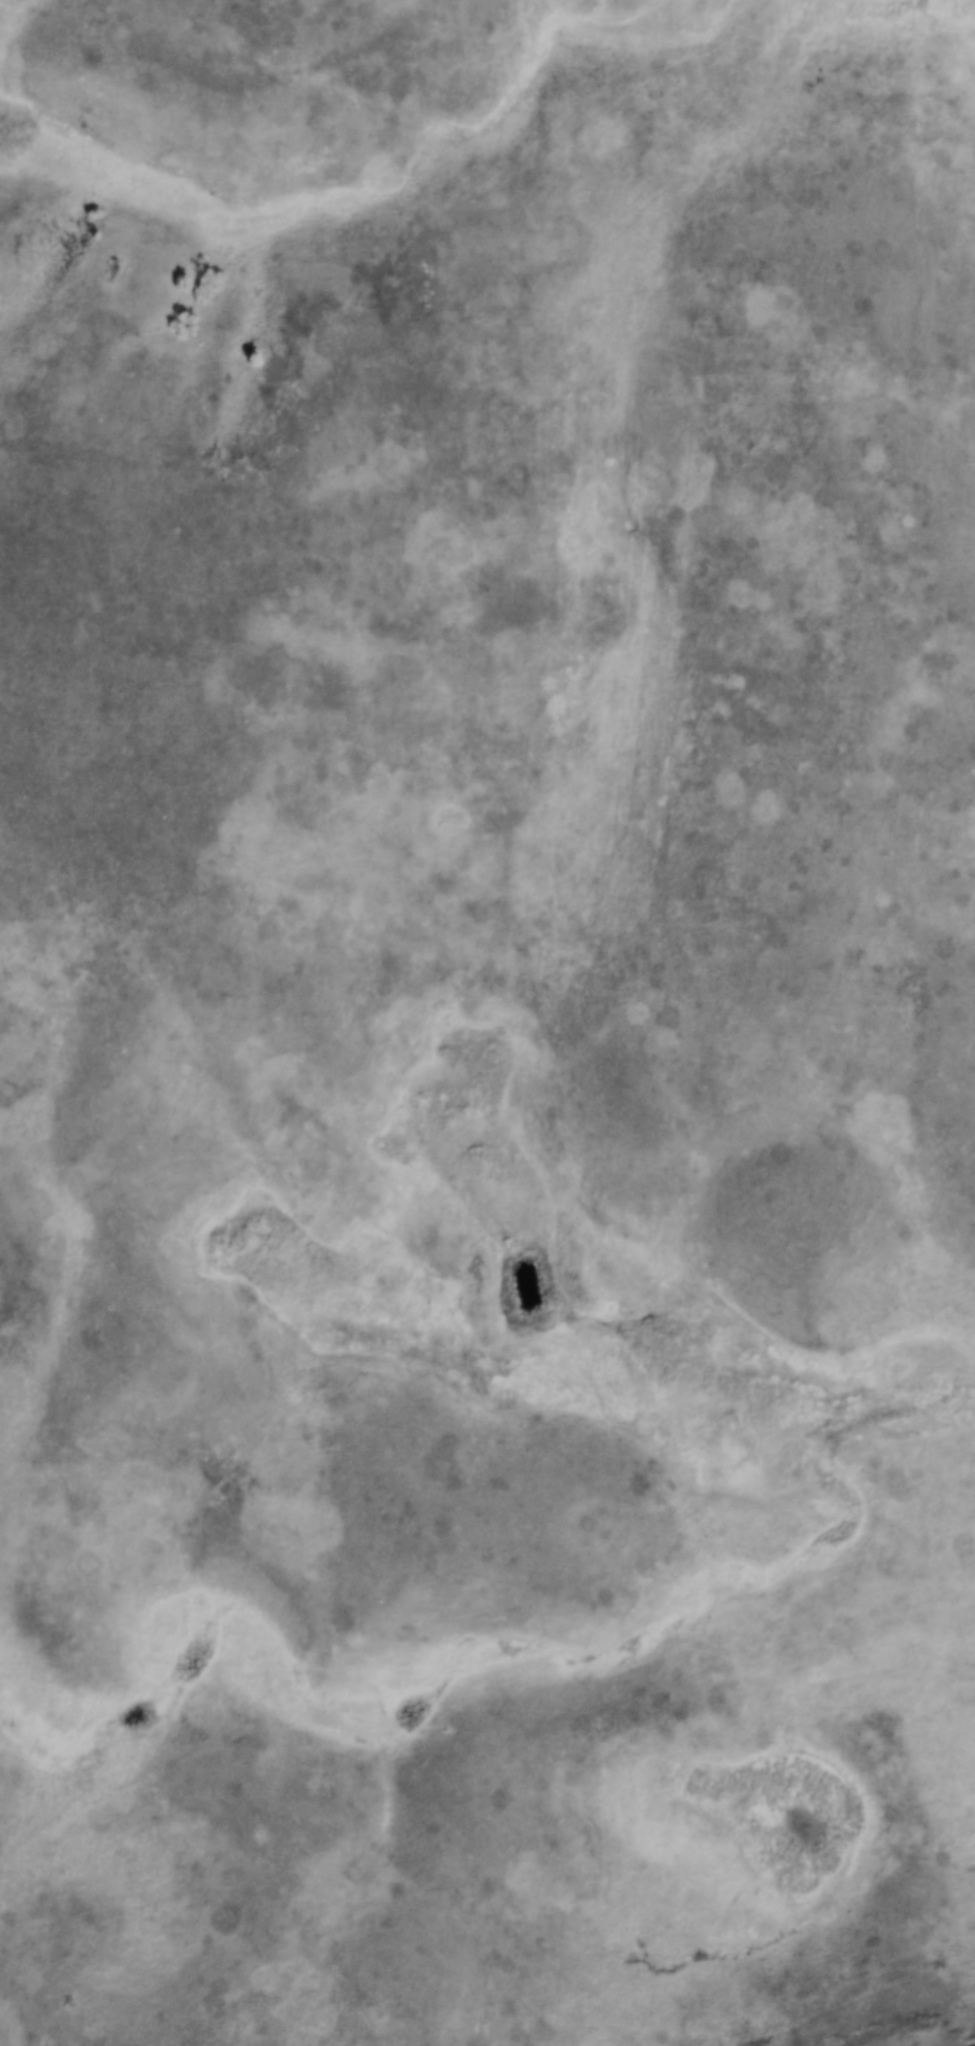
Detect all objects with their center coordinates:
railway: (960, 2041)

